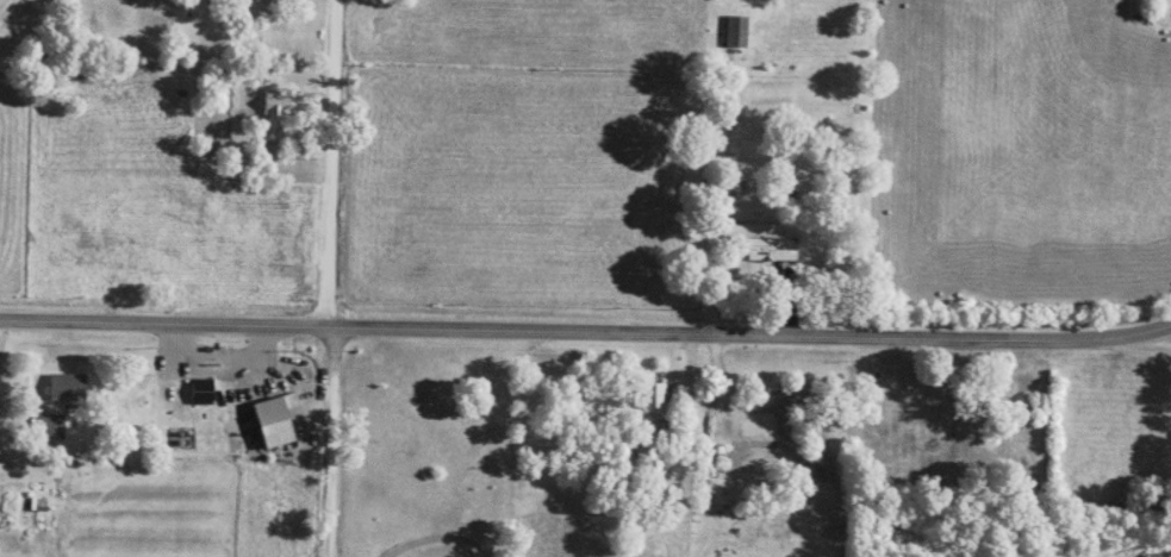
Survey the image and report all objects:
building: (736, 31)
building: (276, 107)
road: (331, 162)
building: (771, 248)
road: (586, 330)
road: (1142, 346)
road: (213, 374)
building: (67, 386)
building: (213, 390)
building: (652, 396)
building: (50, 423)
road: (330, 442)
building: (38, 502)

